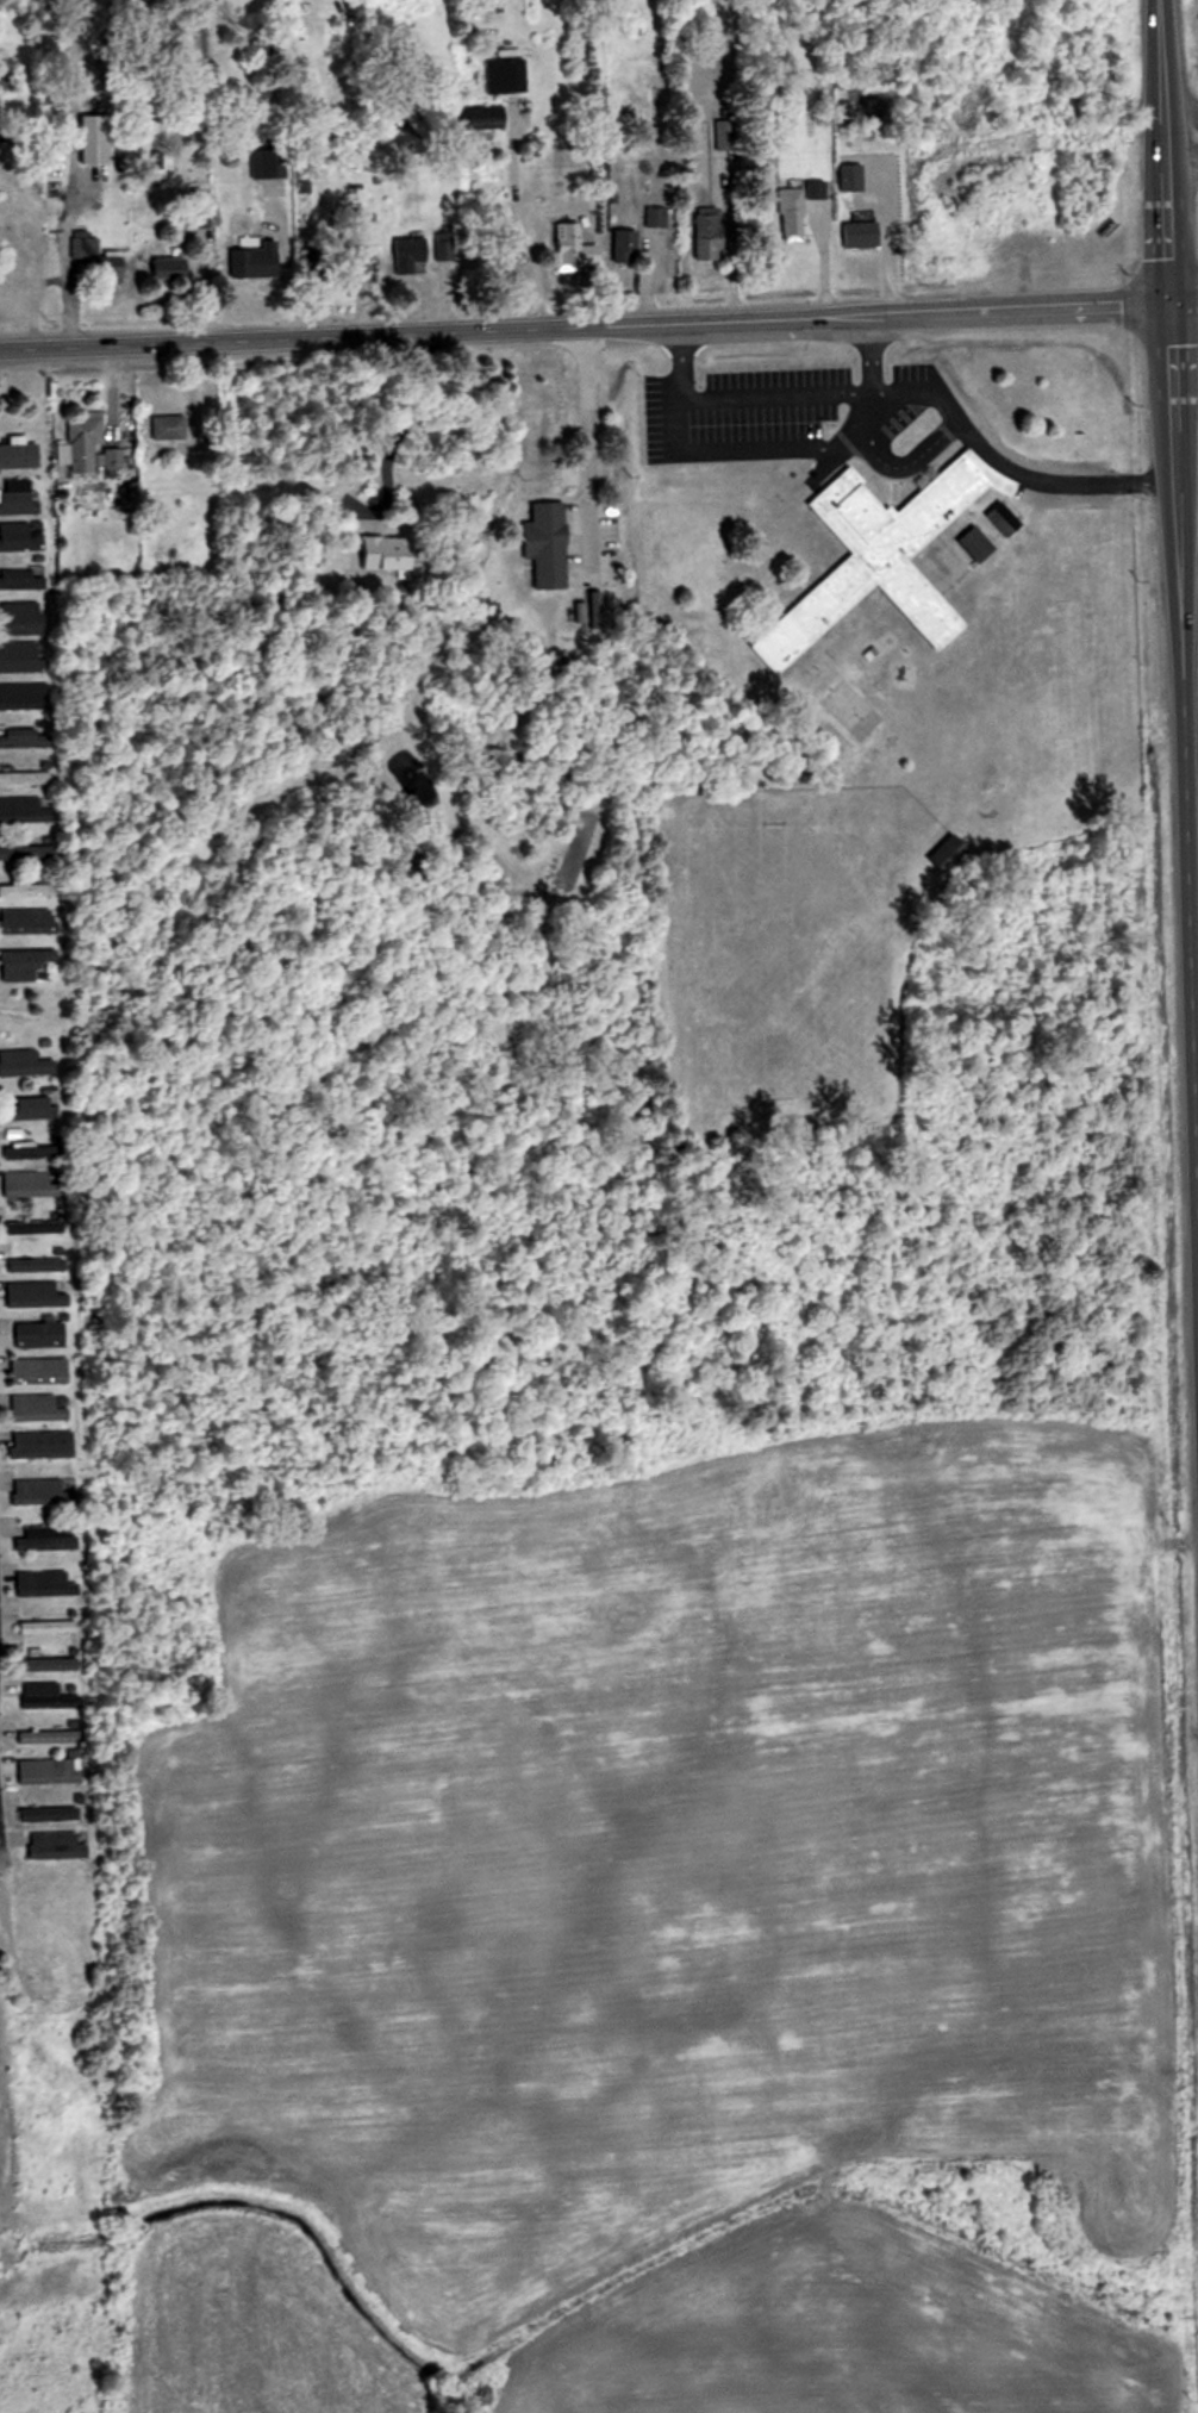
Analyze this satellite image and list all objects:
building: (508, 74)
road: (1178, 112)
building: (487, 116)
road: (1179, 161)
building: (267, 162)
building: (791, 210)
building: (657, 216)
building: (712, 233)
building: (81, 245)
building: (576, 245)
building: (628, 245)
building: (412, 252)
building: (257, 263)
building: (319, 266)
building: (175, 267)
building: (117, 268)
road: (599, 328)
road: (868, 354)
road: (678, 363)
road: (774, 397)
building: (170, 426)
building: (89, 449)
road: (763, 450)
road: (587, 453)
building: (20, 457)
road: (1006, 462)
building: (19, 497)
building: (24, 541)
building: (549, 543)
building: (391, 555)
building: (884, 559)
building: (21, 578)
building: (21, 618)
building: (21, 656)
building: (23, 696)
road: (1177, 722)
building: (19, 737)
building: (23, 777)
building: (20, 810)
building: (25, 852)
building: (25, 890)
building: (27, 921)
building: (25, 965)
building: (26, 1062)
road: (405, 1102)
building: (32, 1105)
building: (32, 1151)
building: (32, 1183)
building: (33, 1227)
building: (32, 1264)
building: (35, 1295)
building: (39, 1334)
building: (40, 1371)
building: (43, 1408)
building: (44, 1446)
building: (45, 1491)
building: (49, 1540)
building: (46, 1584)
building: (50, 1627)
building: (51, 1664)
building: (48, 1695)
building: (49, 1737)
building: (51, 1771)
building: (51, 1813)
building: (60, 1846)

